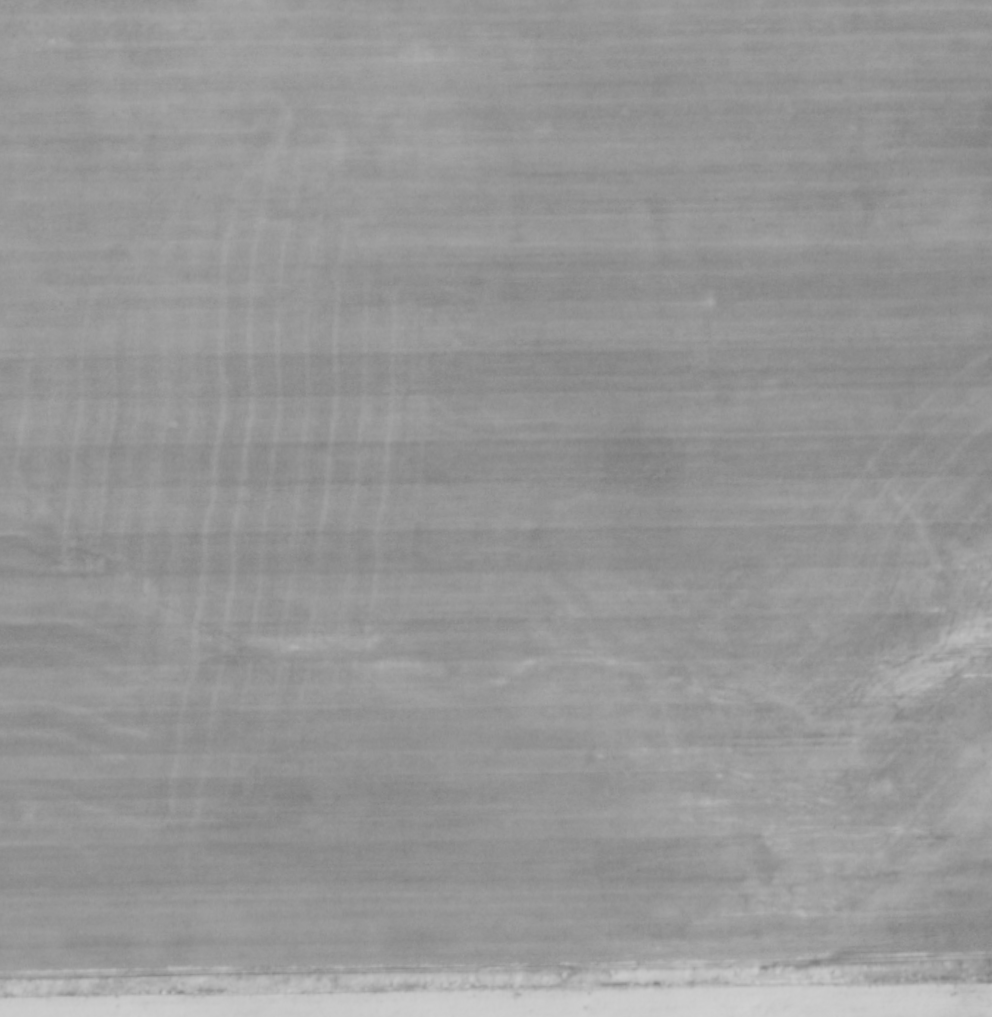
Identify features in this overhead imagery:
road: (496, 971)

